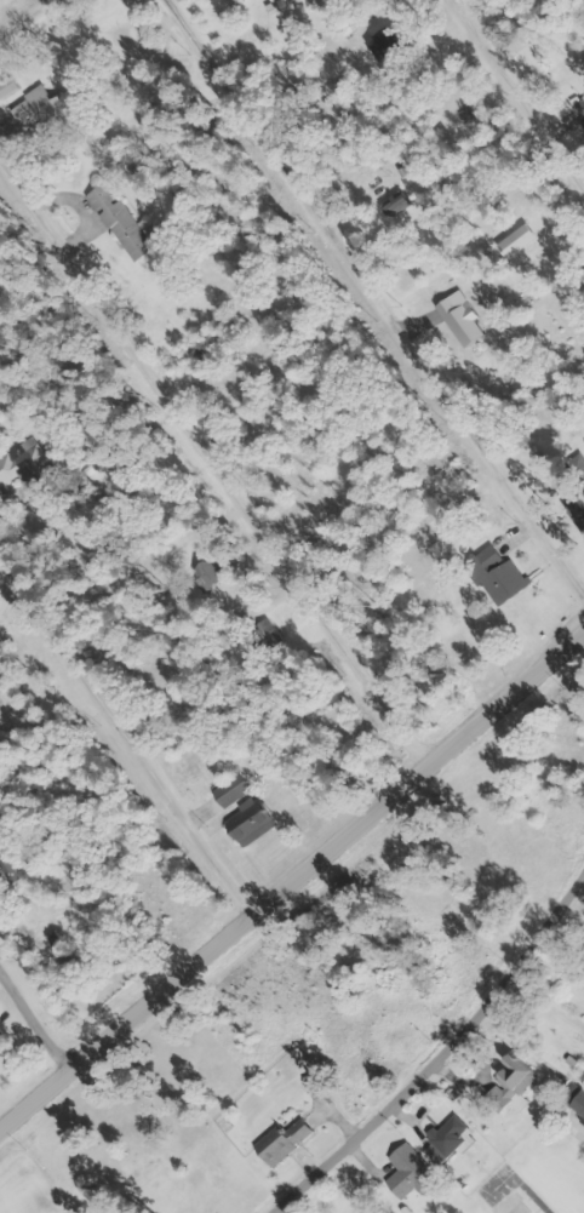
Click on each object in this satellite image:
building: (233, 2)
road: (36, 32)
road: (511, 105)
building: (53, 113)
building: (397, 205)
building: (124, 224)
road: (360, 304)
building: (120, 463)
building: (25, 464)
road: (210, 482)
building: (579, 520)
building: (497, 578)
building: (221, 580)
building: (265, 636)
road: (125, 744)
building: (230, 791)
building: (252, 826)
building: (8, 868)
road: (294, 887)
road: (424, 1011)
road: (40, 1019)
building: (513, 1086)
building: (448, 1140)
building: (282, 1143)
building: (411, 1174)
road: (567, 1196)
building: (513, 1205)

